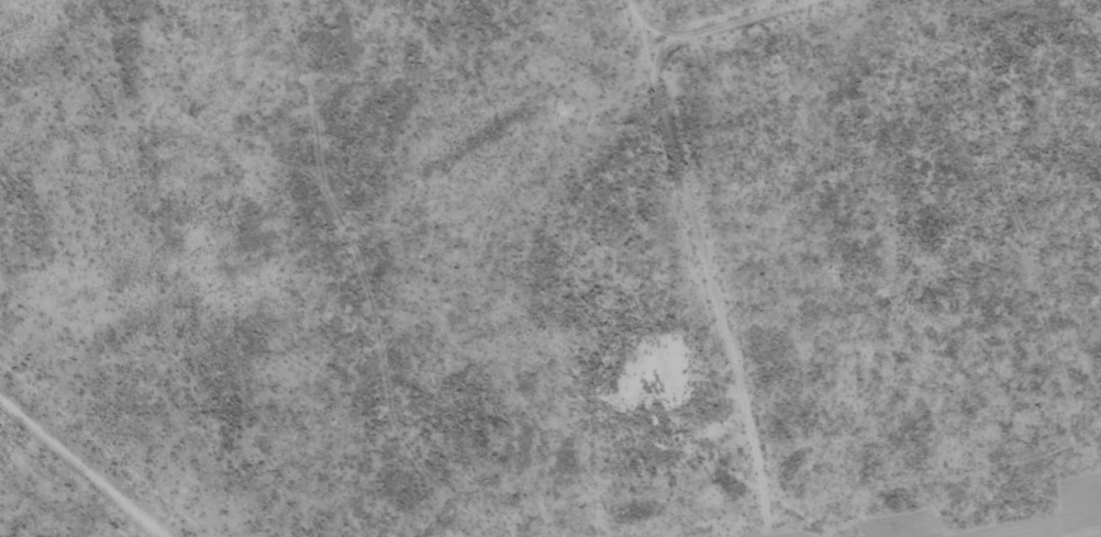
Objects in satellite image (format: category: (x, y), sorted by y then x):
road: (809, 48)

